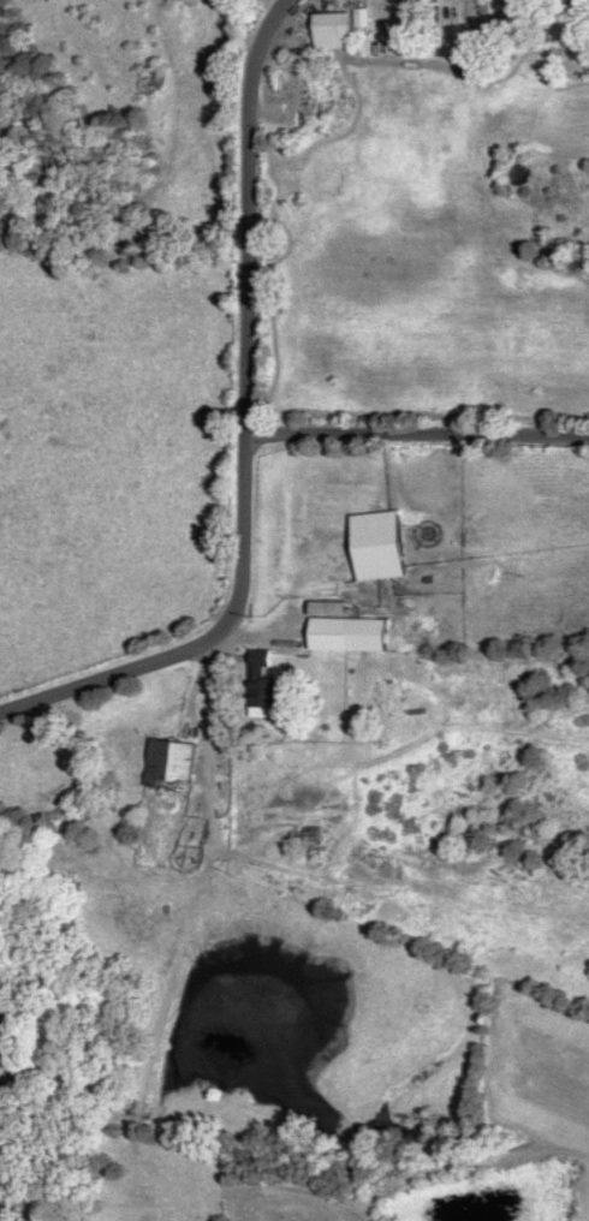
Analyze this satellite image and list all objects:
building: (572, 7)
building: (338, 29)
road: (257, 430)
road: (426, 461)
building: (380, 543)
building: (351, 631)
building: (266, 678)
building: (173, 762)
building: (308, 839)

